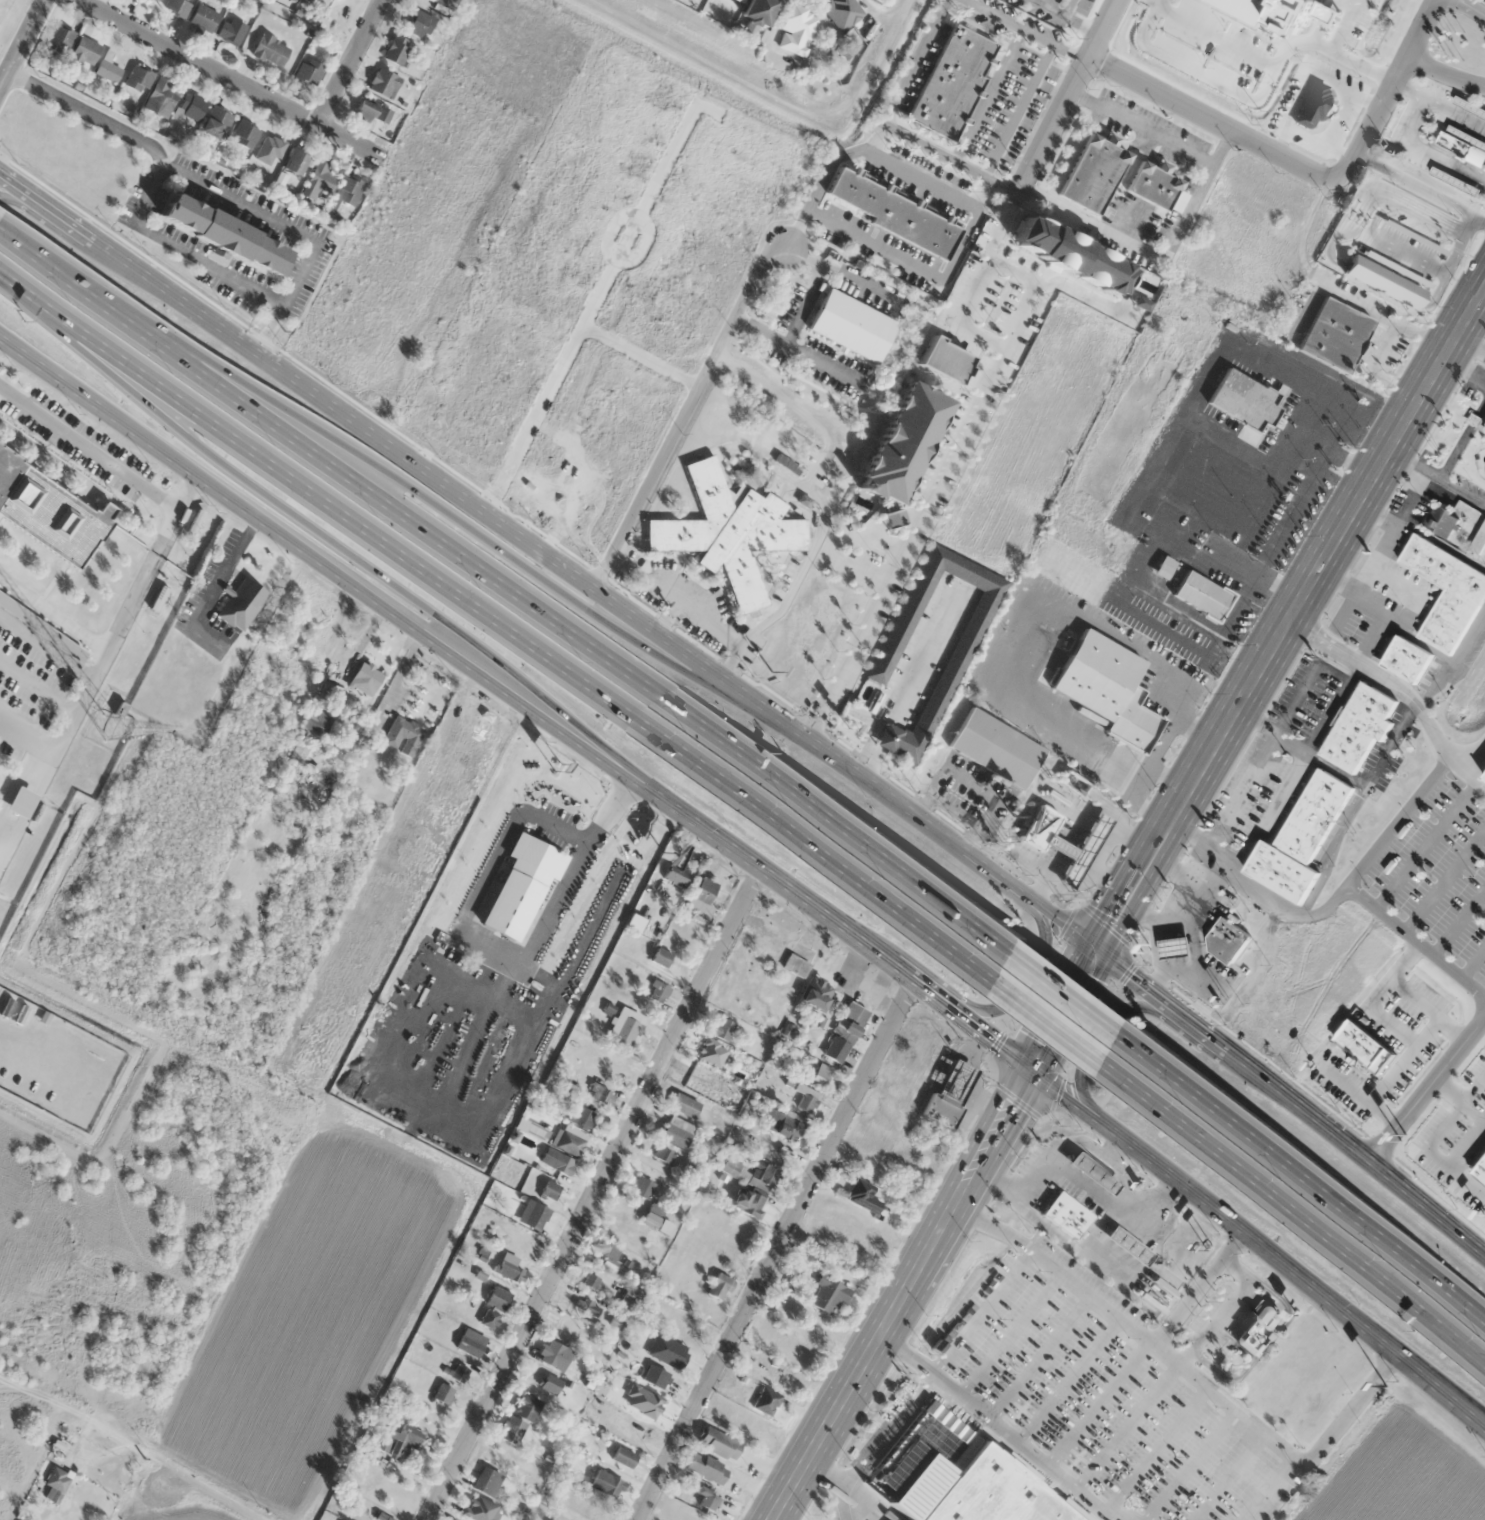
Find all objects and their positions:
road: (1477, 6)
building: (177, 7)
building: (759, 10)
building: (842, 12)
building: (203, 17)
building: (420, 23)
building: (231, 30)
building: (797, 30)
building: (59, 39)
road: (23, 46)
building: (270, 49)
building: (397, 50)
building: (83, 53)
road: (349, 62)
building: (108, 68)
building: (309, 71)
road: (1446, 74)
building: (139, 79)
road: (230, 79)
building: (952, 81)
building: (384, 83)
road: (1410, 89)
road: (1390, 90)
building: (162, 97)
road: (1066, 98)
building: (1313, 104)
building: (192, 106)
building: (1470, 106)
building: (364, 110)
building: (383, 114)
road: (1212, 118)
building: (216, 122)
road: (1410, 127)
building: (245, 133)
road: (1427, 145)
building: (1463, 145)
building: (269, 149)
building: (295, 161)
building: (1092, 173)
building: (1456, 180)
building: (318, 181)
building: (1156, 186)
road: (152, 187)
building: (349, 190)
road: (22, 193)
building: (895, 213)
road: (292, 230)
building: (224, 234)
building: (1436, 234)
building: (851, 326)
building: (1336, 334)
road: (1470, 343)
road: (1463, 367)
building: (1243, 400)
building: (501, 402)
building: (619, 411)
road: (684, 413)
building: (1482, 423)
road: (1462, 438)
building: (902, 442)
road: (1400, 472)
road: (1437, 475)
road: (440, 481)
building: (49, 510)
road: (1374, 516)
building: (892, 518)
building: (1442, 521)
building: (729, 532)
building: (1477, 543)
road: (1441, 544)
road: (1375, 556)
road: (367, 564)
road: (538, 576)
road: (344, 579)
road: (513, 586)
road: (1411, 590)
building: (1446, 592)
building: (1202, 595)
building: (241, 599)
road: (1386, 614)
road: (1290, 617)
road: (499, 632)
building: (969, 632)
road: (1372, 639)
building: (66, 647)
building: (1406, 659)
road: (1452, 661)
building: (365, 679)
building: (1106, 687)
road: (1399, 690)
building: (317, 723)
building: (1357, 726)
building: (403, 734)
building: (996, 748)
building: (299, 752)
building: (1484, 779)
building: (1073, 783)
building: (17, 803)
building: (632, 819)
road: (1399, 821)
building: (1040, 829)
building: (1299, 839)
road: (1426, 844)
gas station: (1080, 850)
building: (504, 863)
road: (988, 872)
building: (678, 874)
road: (1443, 879)
building: (547, 885)
building: (703, 898)
road: (1334, 901)
road: (1459, 922)
building: (1227, 941)
gas station: (1174, 948)
building: (1175, 948)
traffic signals: (1095, 950)
building: (661, 957)
road: (1473, 963)
building: (488, 964)
building: (796, 965)
road: (1393, 973)
road: (1019, 986)
road: (1078, 989)
building: (659, 992)
building: (818, 994)
road: (1426, 1010)
road: (1061, 1011)
road: (1055, 1024)
road: (1393, 1024)
building: (626, 1027)
building: (723, 1029)
building: (845, 1033)
road: (1097, 1040)
building: (1359, 1045)
road: (1403, 1060)
traffic signals: (1028, 1072)
building: (821, 1075)
building: (698, 1080)
road: (1424, 1090)
building: (599, 1094)
road: (1359, 1095)
road: (1458, 1098)
building: (808, 1100)
building: (686, 1106)
road: (1290, 1106)
road: (1083, 1114)
building: (584, 1117)
building: (780, 1124)
building: (678, 1132)
building: (570, 1139)
road: (1433, 1139)
road: (1465, 1140)
building: (664, 1155)
building: (557, 1161)
building: (732, 1167)
road: (1308, 1169)
building: (1481, 1170)
building: (763, 1173)
building: (1093, 1174)
gas station: (1093, 1174)
building: (508, 1178)
building: (643, 1187)
building: (550, 1190)
road: (595, 1196)
building: (748, 1203)
building: (534, 1214)
building: (1066, 1215)
road: (1296, 1218)
building: (657, 1226)
building: (1127, 1247)
gas station: (1127, 1247)
road: (779, 1252)
building: (610, 1255)
building: (509, 1268)
road: (1057, 1268)
building: (591, 1281)
building: (720, 1286)
road: (1197, 1290)
building: (828, 1295)
road: (899, 1296)
building: (588, 1306)
building: (494, 1307)
road: (1224, 1307)
road: (982, 1310)
building: (678, 1325)
building: (1258, 1326)
building: (818, 1331)
road: (1013, 1333)
building: (471, 1342)
road: (1264, 1347)
building: (668, 1350)
building: (555, 1354)
road: (1041, 1355)
building: (462, 1370)
building: (656, 1376)
road: (1070, 1378)
building: (789, 1382)
building: (550, 1383)
building: (444, 1393)
building: (766, 1401)
road: (1100, 1402)
building: (527, 1406)
road: (1129, 1426)
road: (1476, 1428)
road: (1476, 1428)
building: (512, 1429)
road: (1006, 1429)
building: (401, 1440)
road: (880, 1442)
building: (718, 1443)
road: (1279, 1447)
road: (1157, 1450)
building: (623, 1456)
road: (1191, 1465)
building: (706, 1467)
road: (826, 1475)
building: (958, 1475)
road: (1230, 1477)
building: (58, 1479)
building: (487, 1481)
building: (606, 1484)
road: (1268, 1489)
road: (218, 1498)
building: (707, 1499)
building: (480, 1509)

